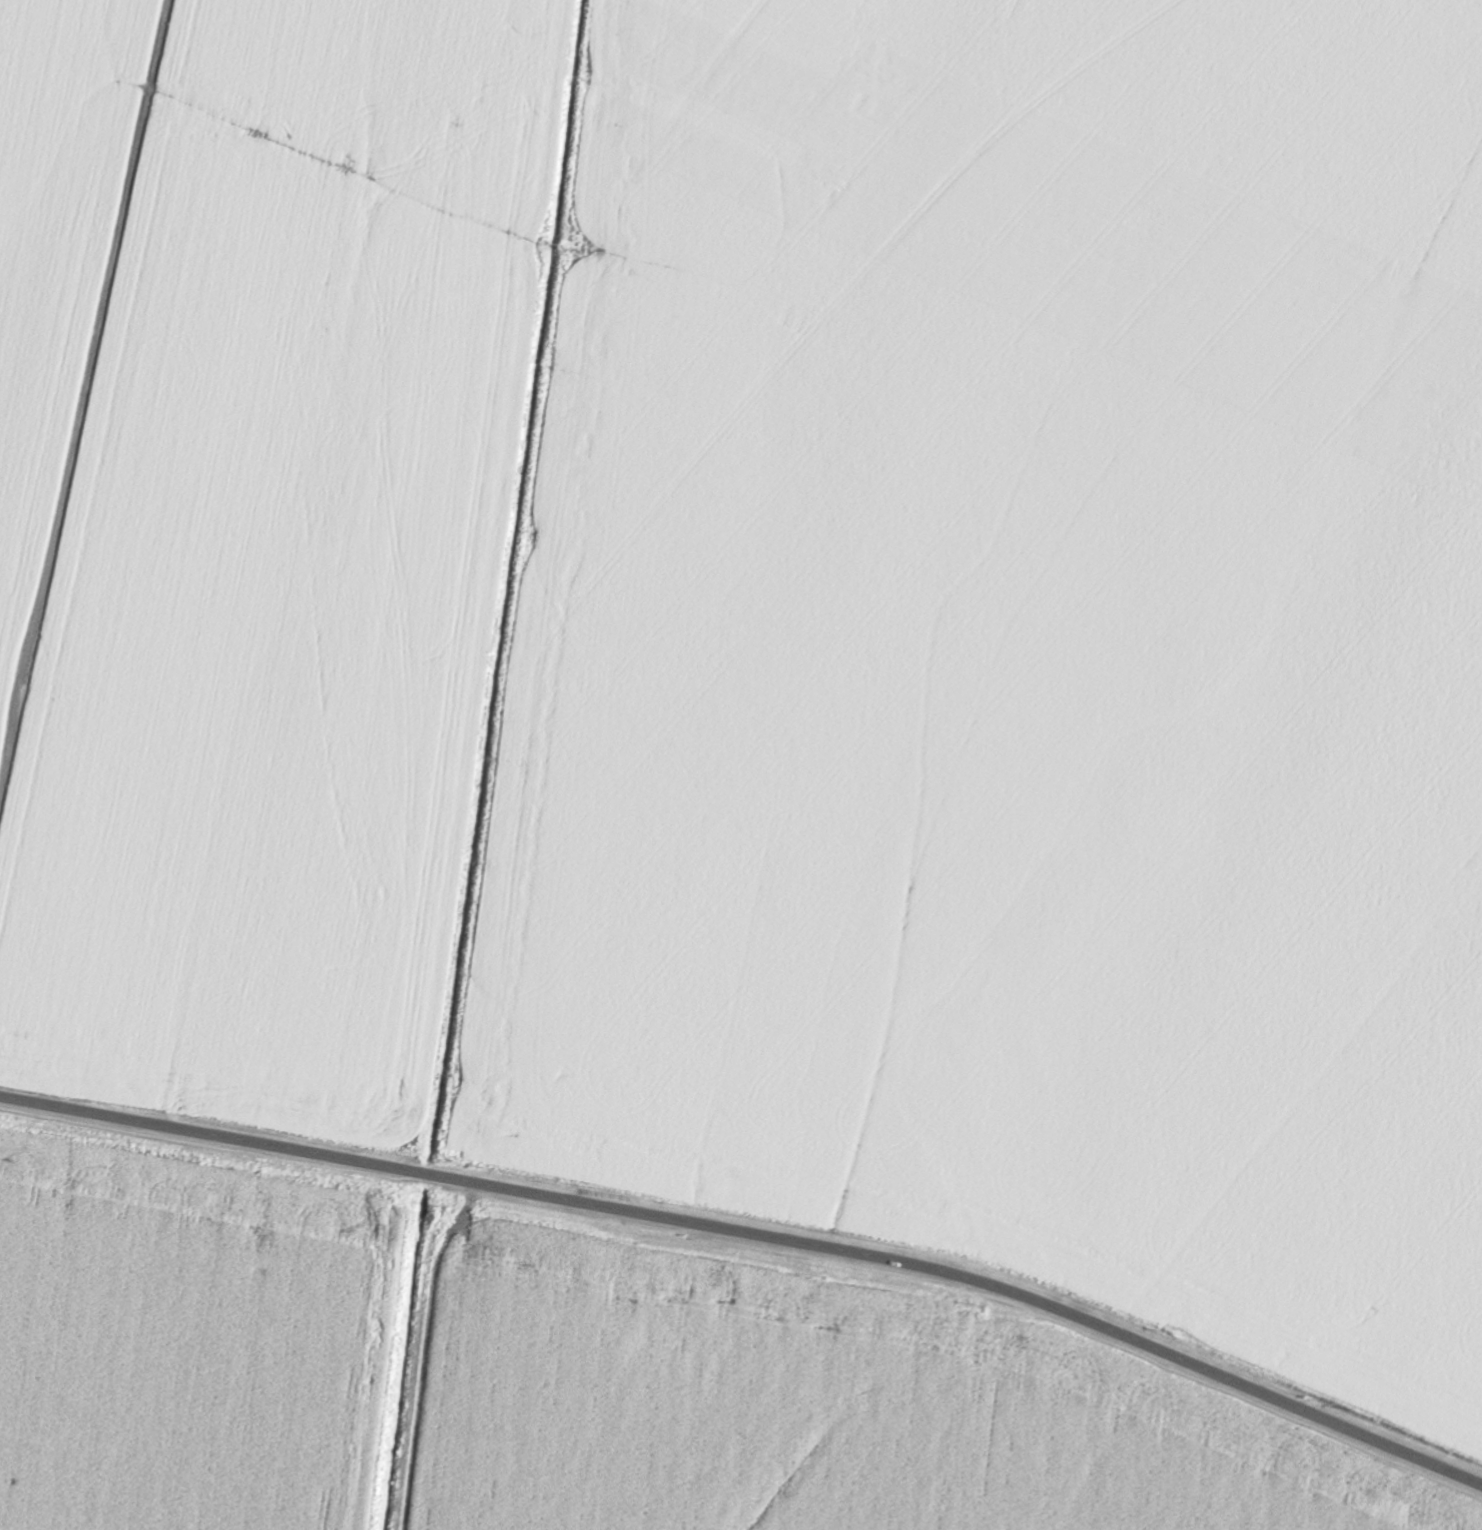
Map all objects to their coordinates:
road: (757, 1233)

